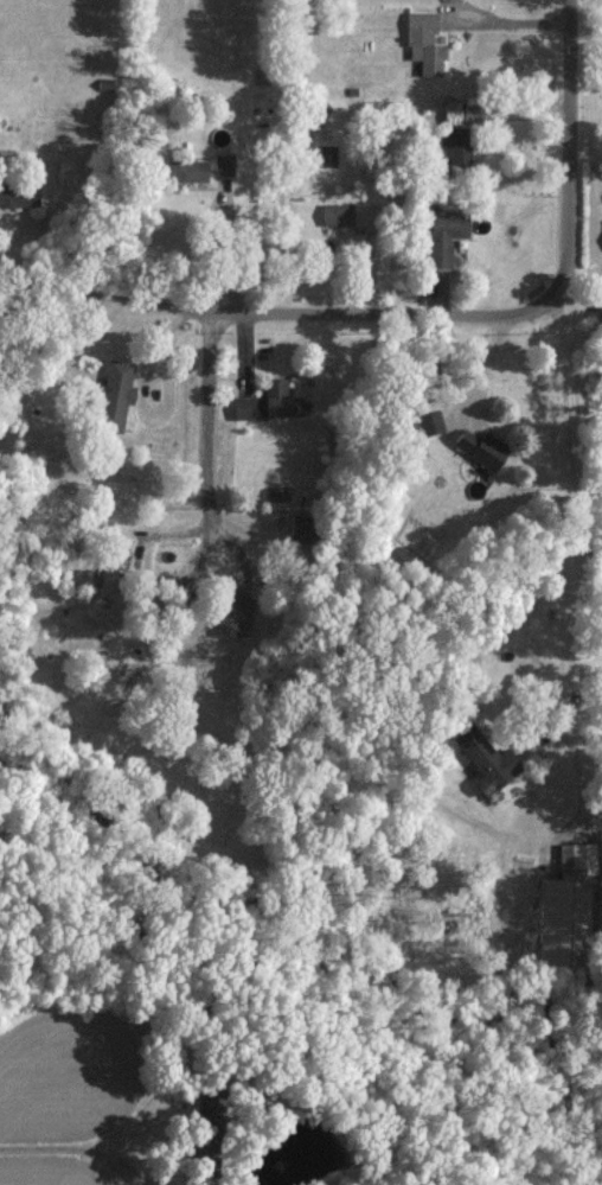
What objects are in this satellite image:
building: (423, 39)
building: (456, 109)
road: (581, 145)
building: (459, 148)
building: (223, 163)
building: (184, 170)
building: (18, 193)
building: (346, 214)
building: (447, 222)
road: (280, 285)
building: (600, 308)
building: (113, 394)
building: (268, 401)
road: (213, 404)
building: (428, 421)
building: (478, 447)
road: (578, 498)
building: (233, 612)
building: (483, 759)
building: (575, 853)
building: (562, 916)
road: (77, 1151)

